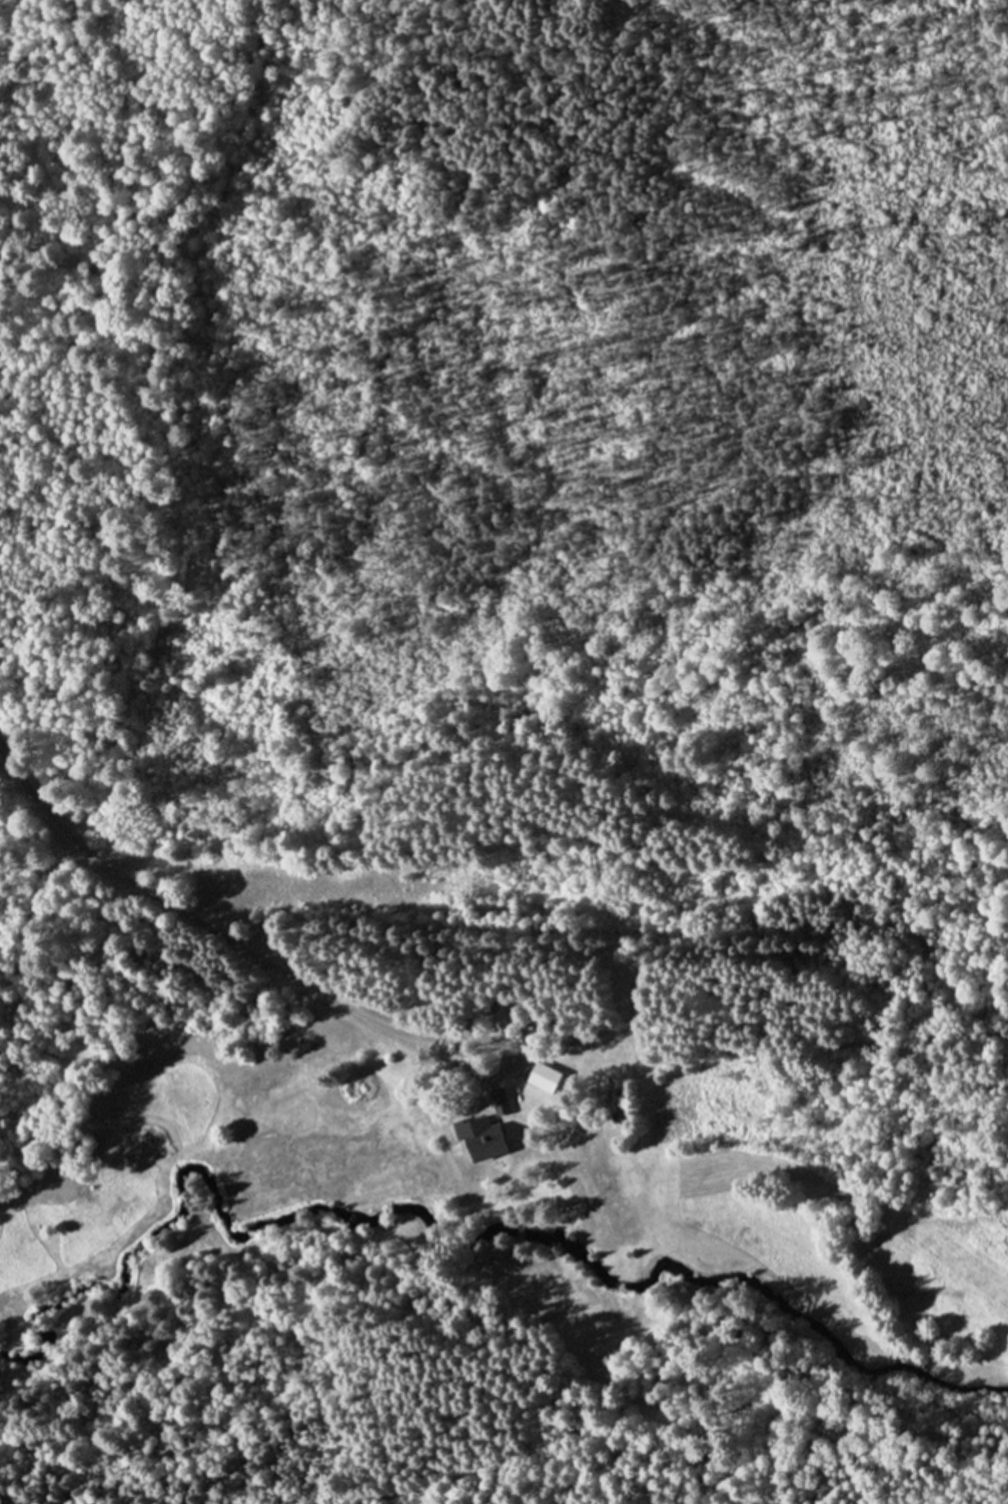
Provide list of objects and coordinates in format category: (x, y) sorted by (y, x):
road: (181, 911)
road: (508, 1062)
building: (540, 1078)
building: (509, 1098)
building: (496, 1101)
building: (483, 1139)

